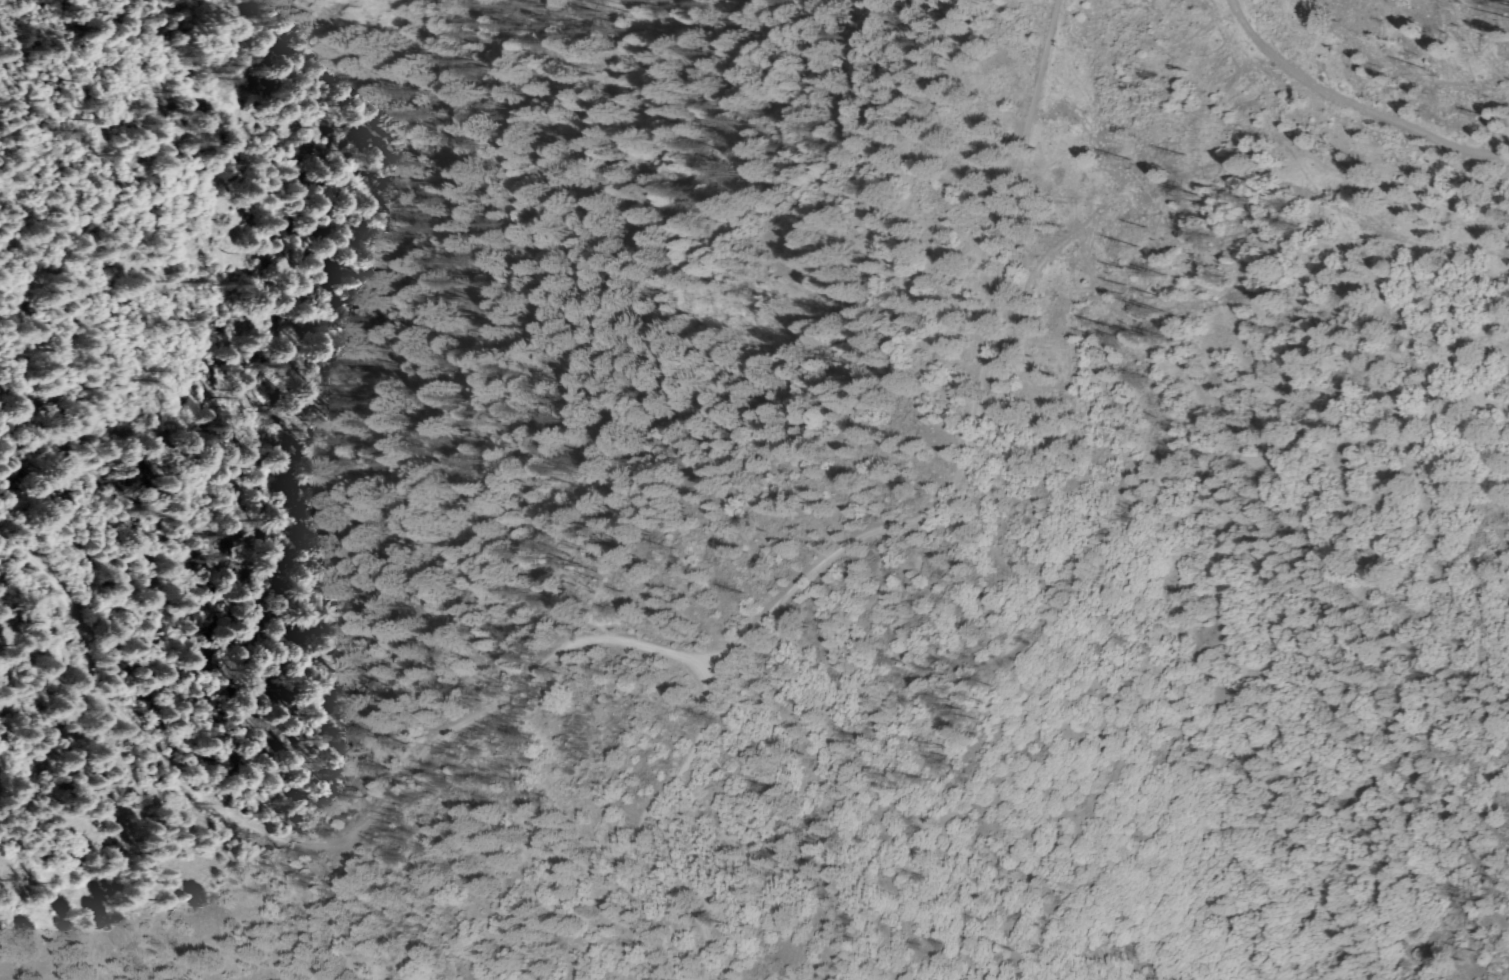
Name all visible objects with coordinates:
road: (980, 396)
road: (646, 824)
road: (319, 843)

